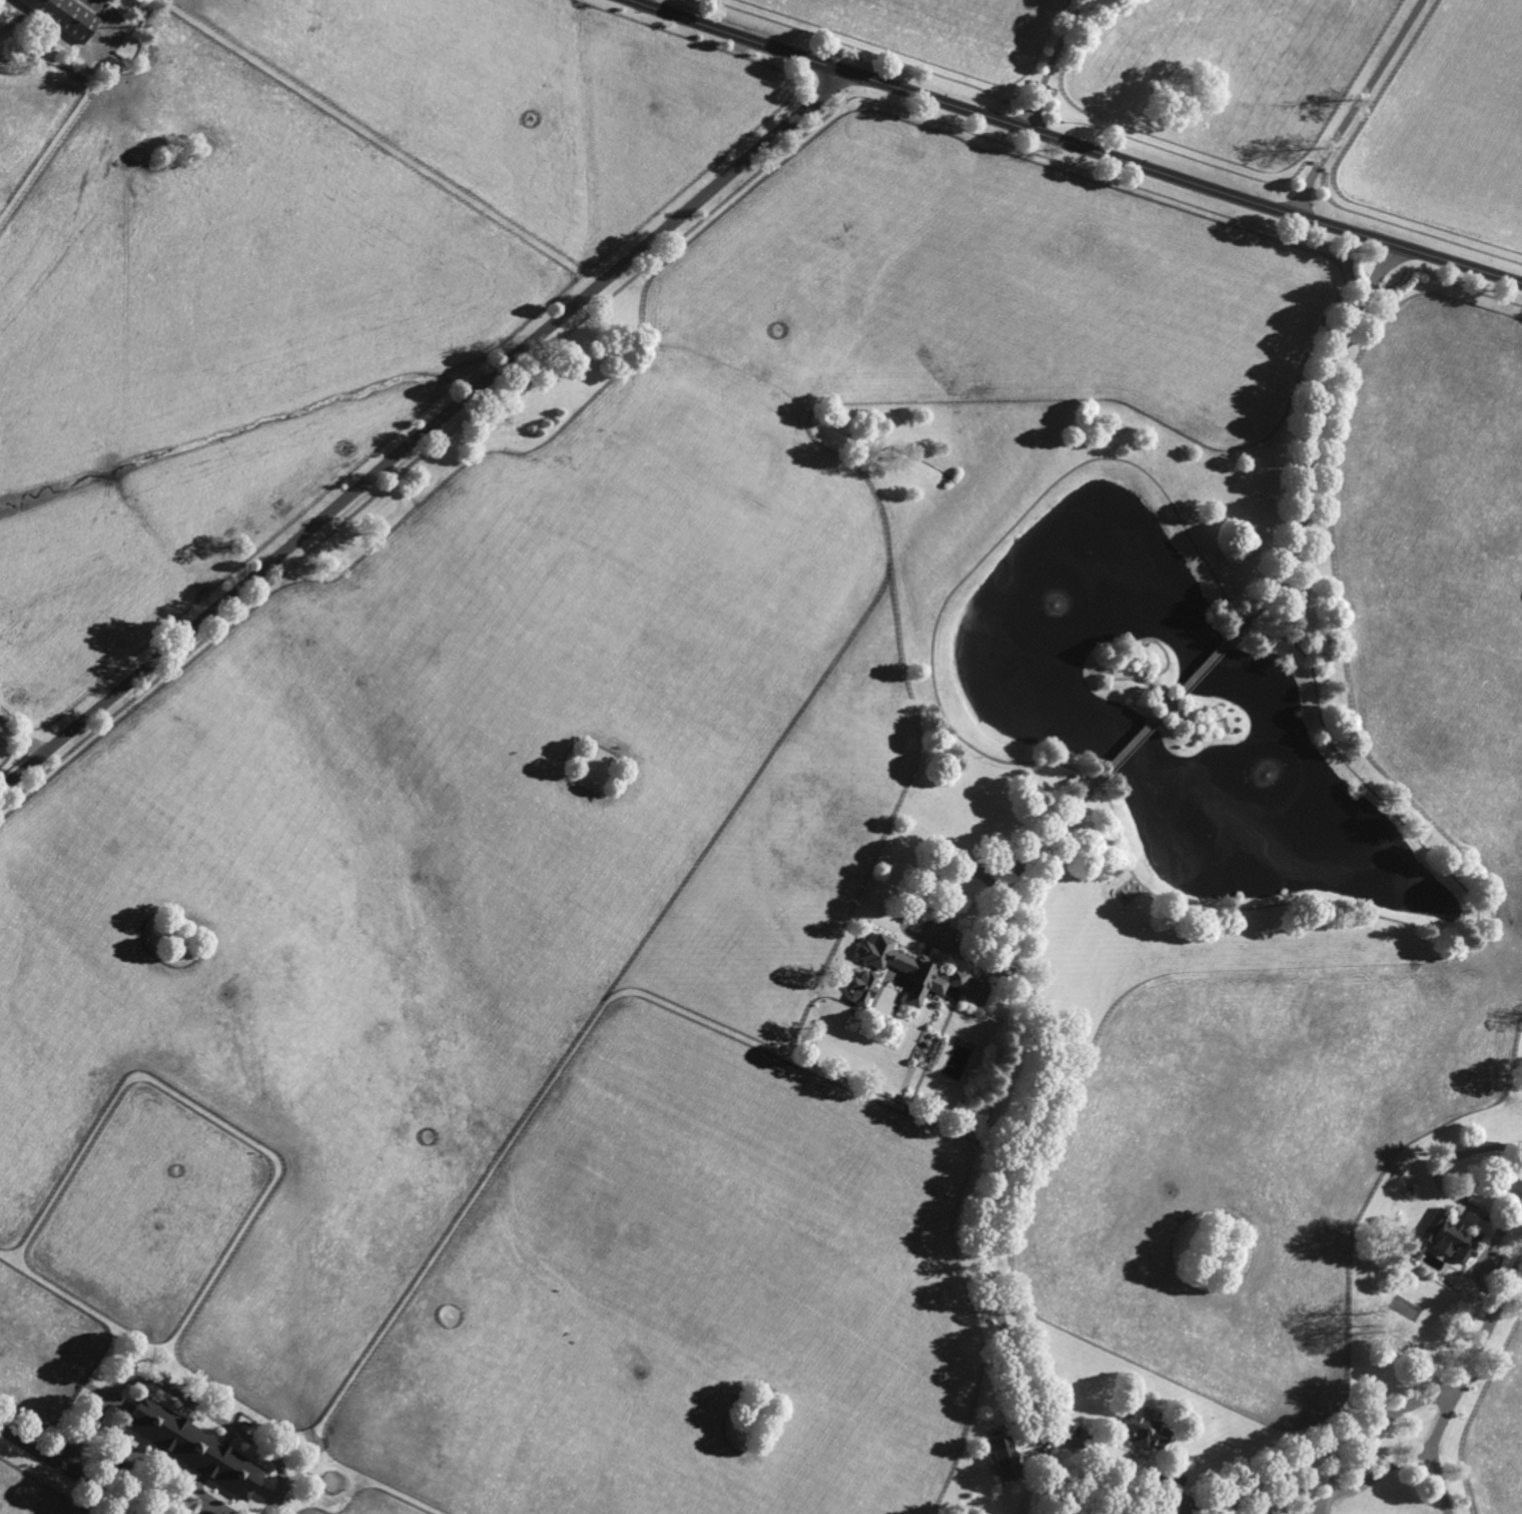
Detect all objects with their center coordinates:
building: (65, 16)
road: (1051, 60)
road: (1355, 106)
road: (1077, 145)
road: (426, 432)
road: (1185, 685)
road: (23, 737)
building: (924, 976)
building: (862, 989)
building: (908, 1042)
building: (1409, 1189)
road: (1459, 1202)
road: (1511, 1221)
building: (1398, 1233)
building: (1447, 1236)
building: (1418, 1249)
road: (993, 1285)
road: (1492, 1314)
road: (183, 1398)
road: (1445, 1414)
building: (1142, 1432)
building: (192, 1446)
road: (1329, 1446)
building: (1004, 1457)
road: (1395, 1467)
road: (162, 1468)
road: (1046, 1468)
road: (70, 1469)
road: (1220, 1509)

